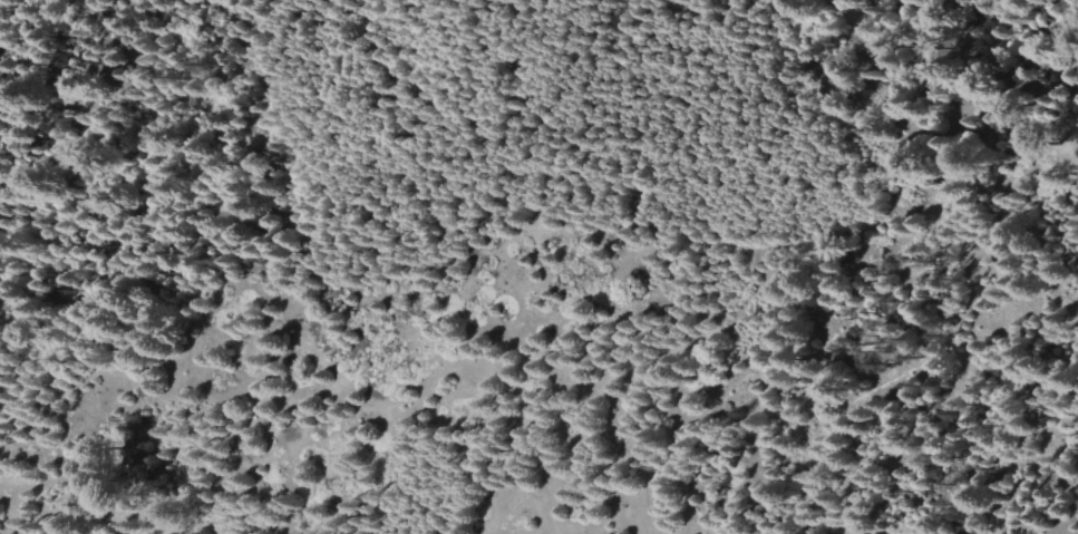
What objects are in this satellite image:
road: (563, 386)

